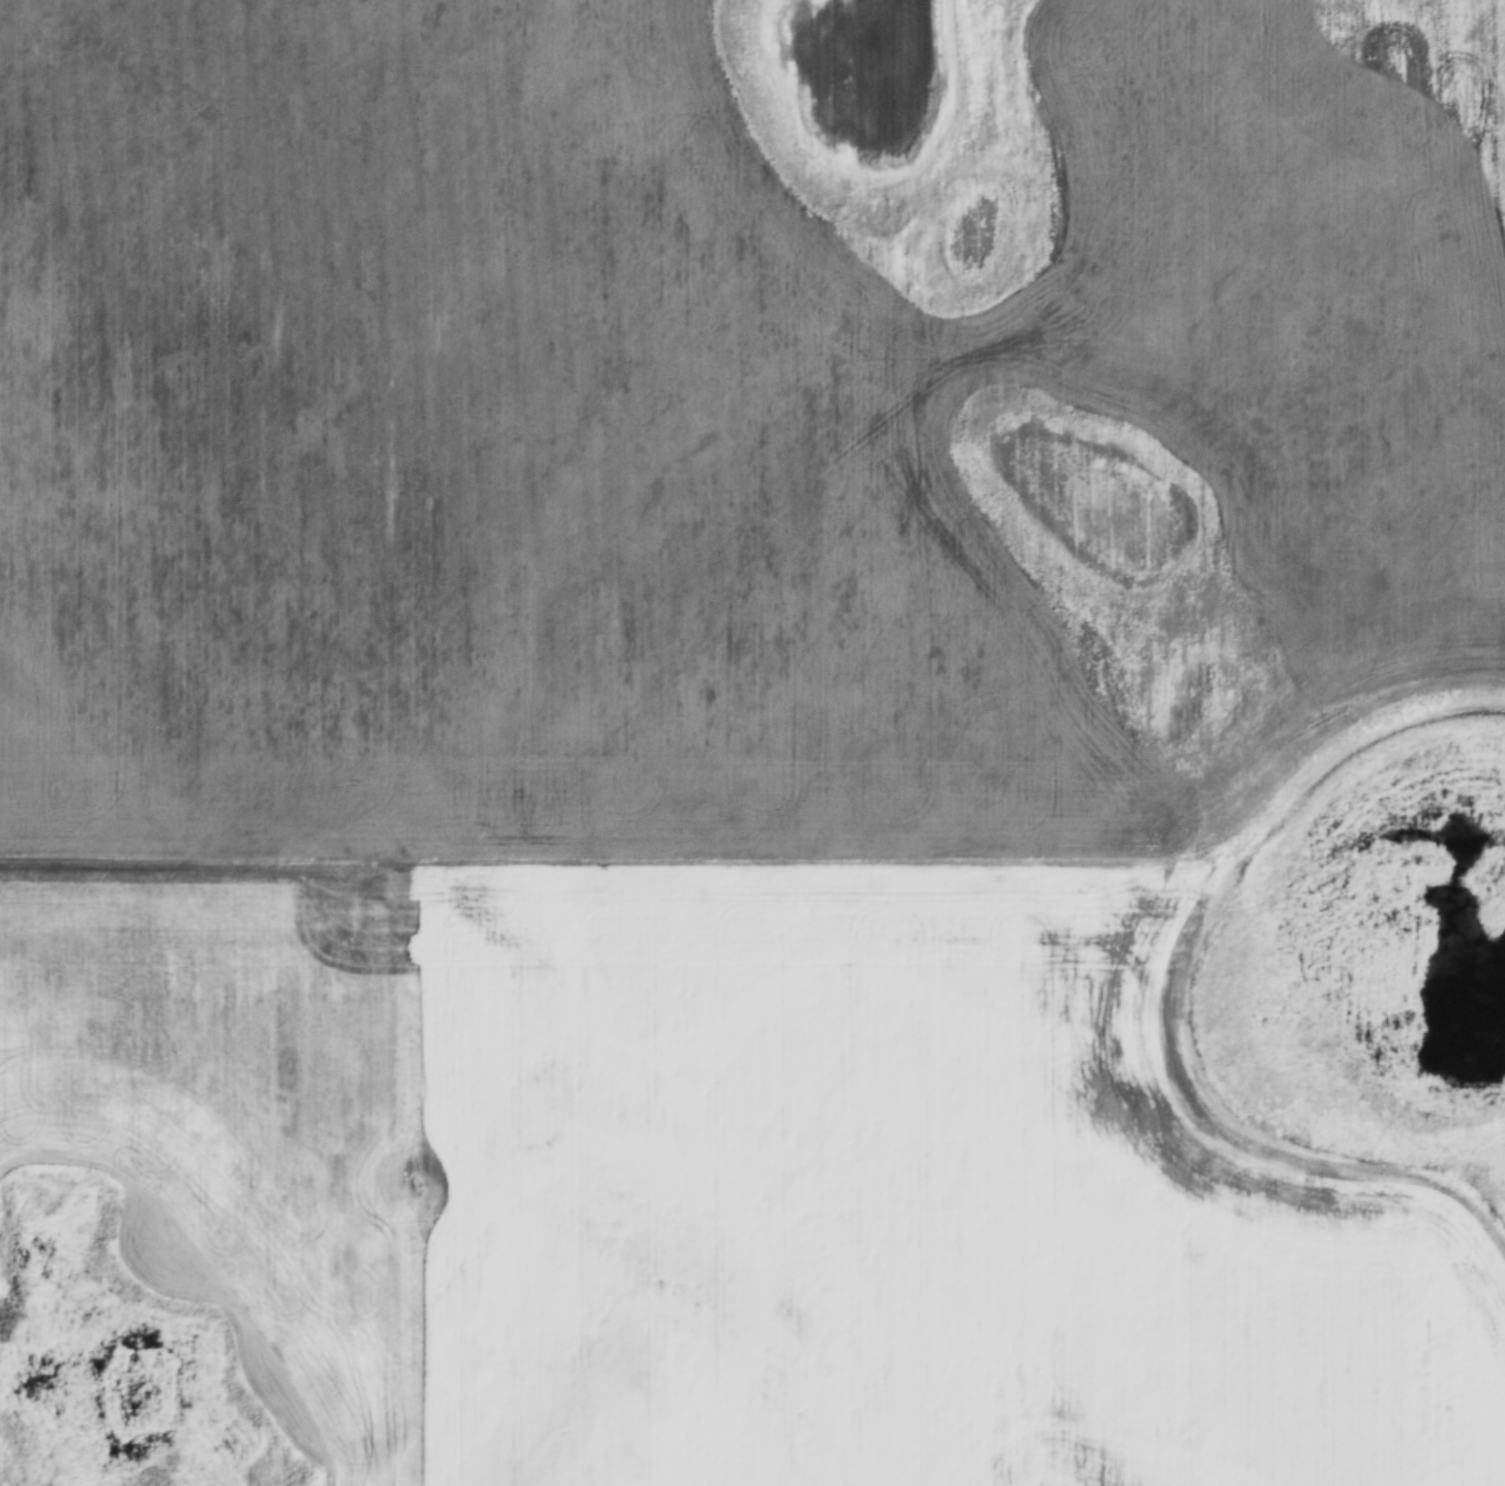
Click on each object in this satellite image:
road: (785, 861)

